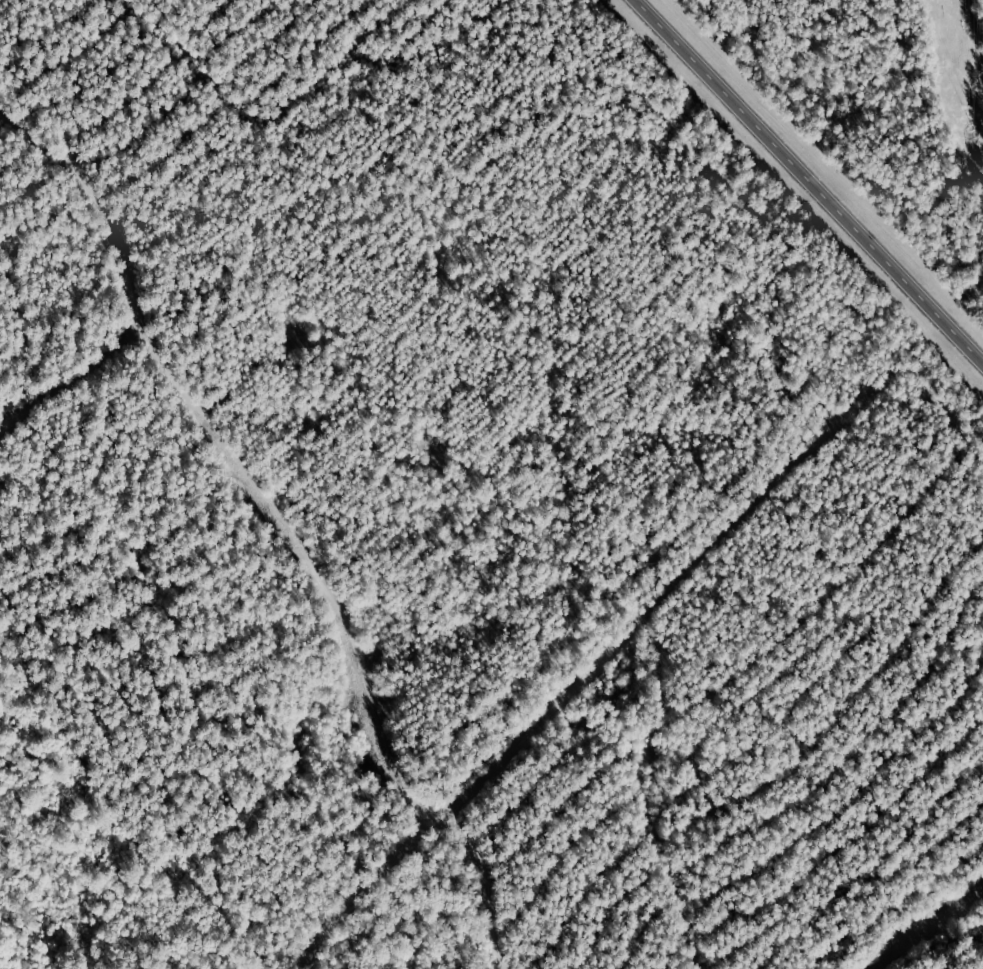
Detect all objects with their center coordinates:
road: (809, 181)

